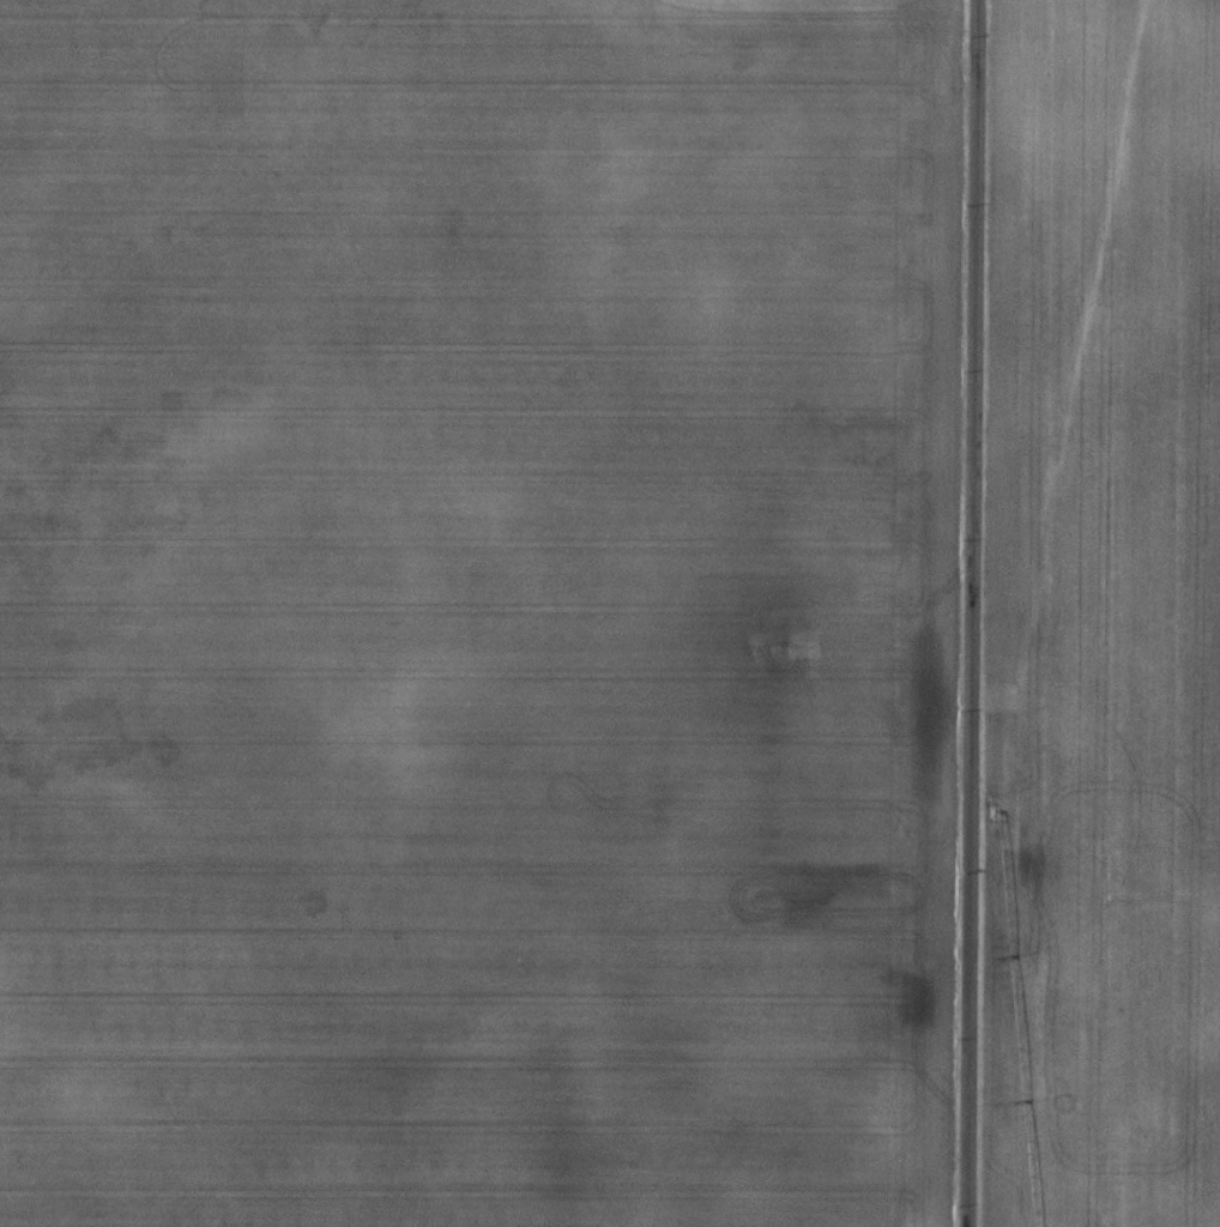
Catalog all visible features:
road: (983, 613)

